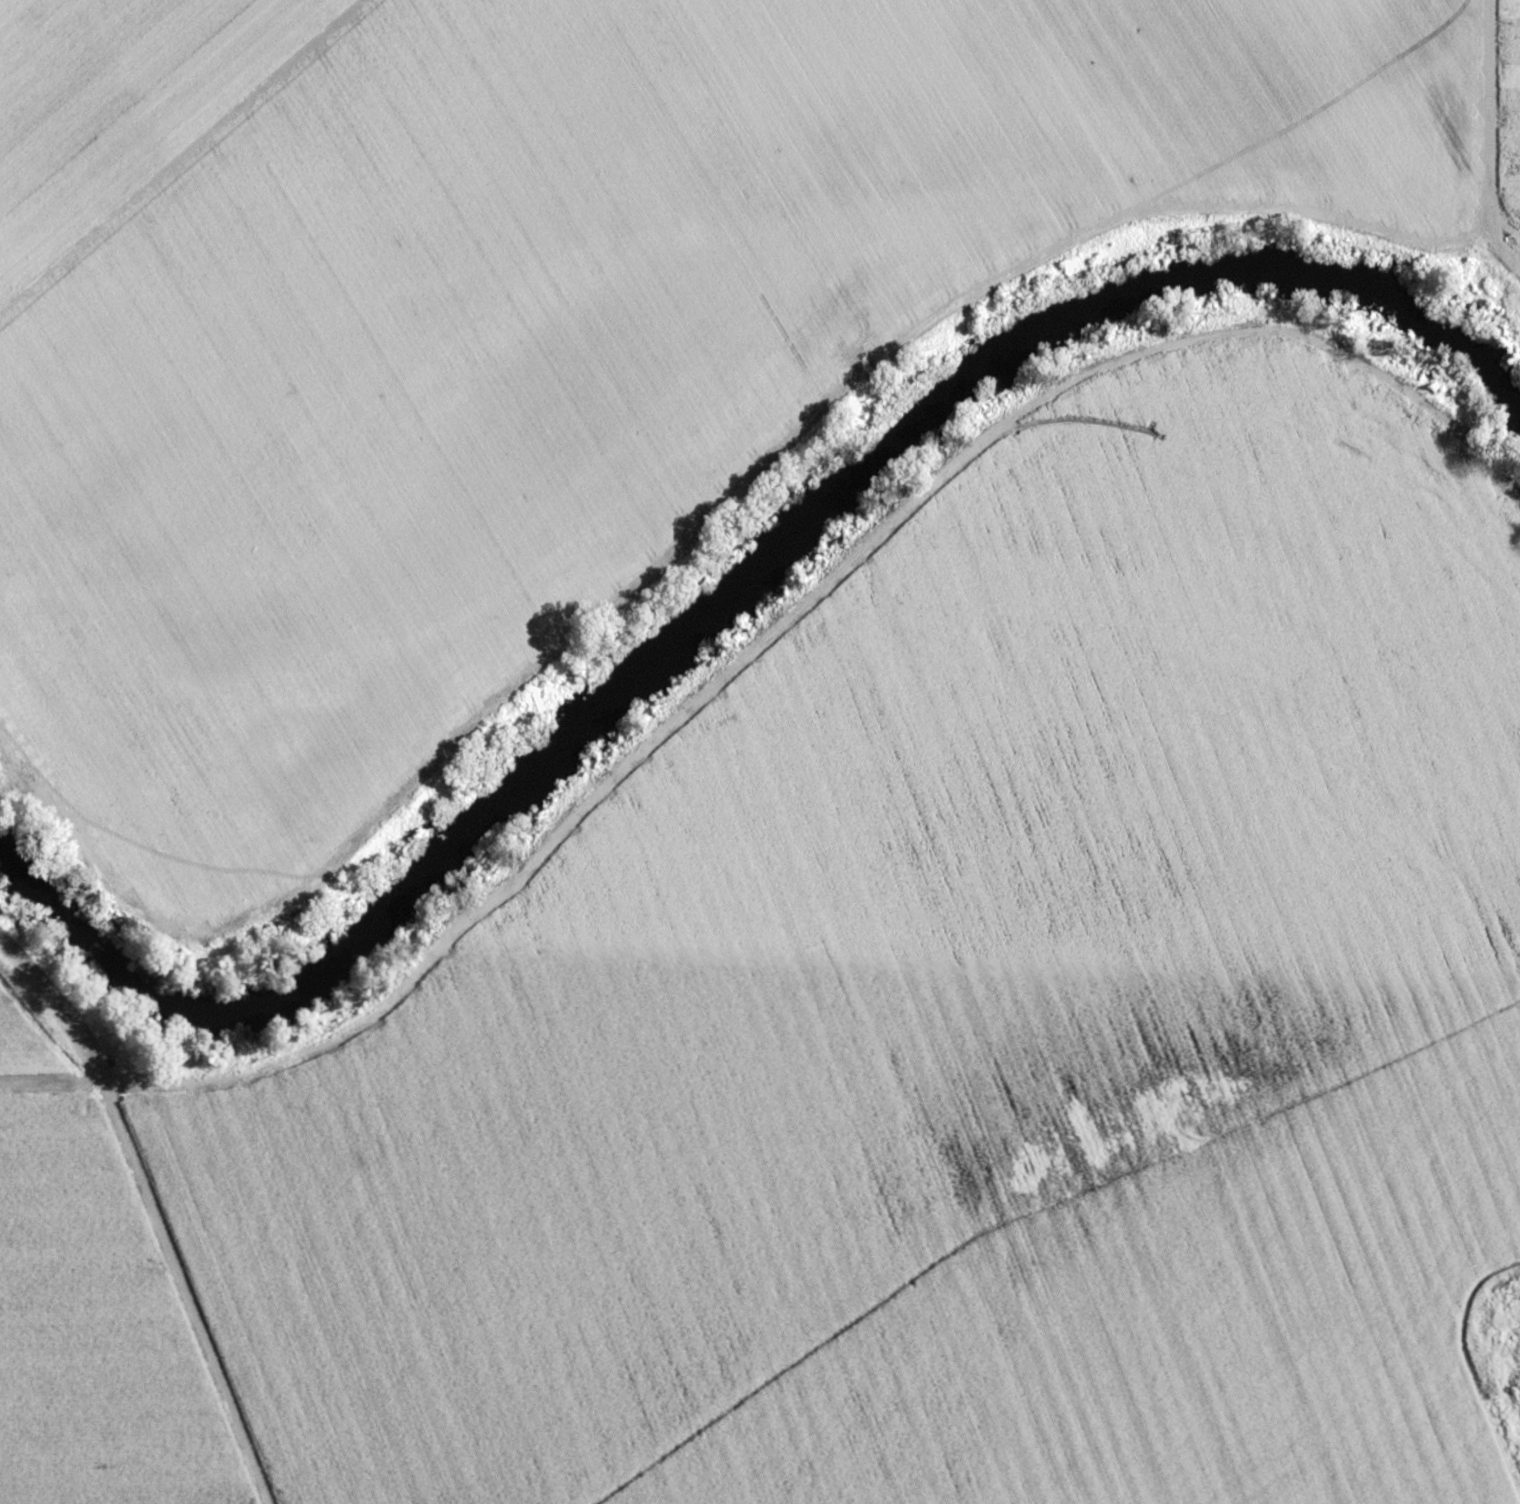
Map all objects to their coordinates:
road: (183, 159)
road: (708, 521)
river: (729, 595)
road: (150, 1215)

